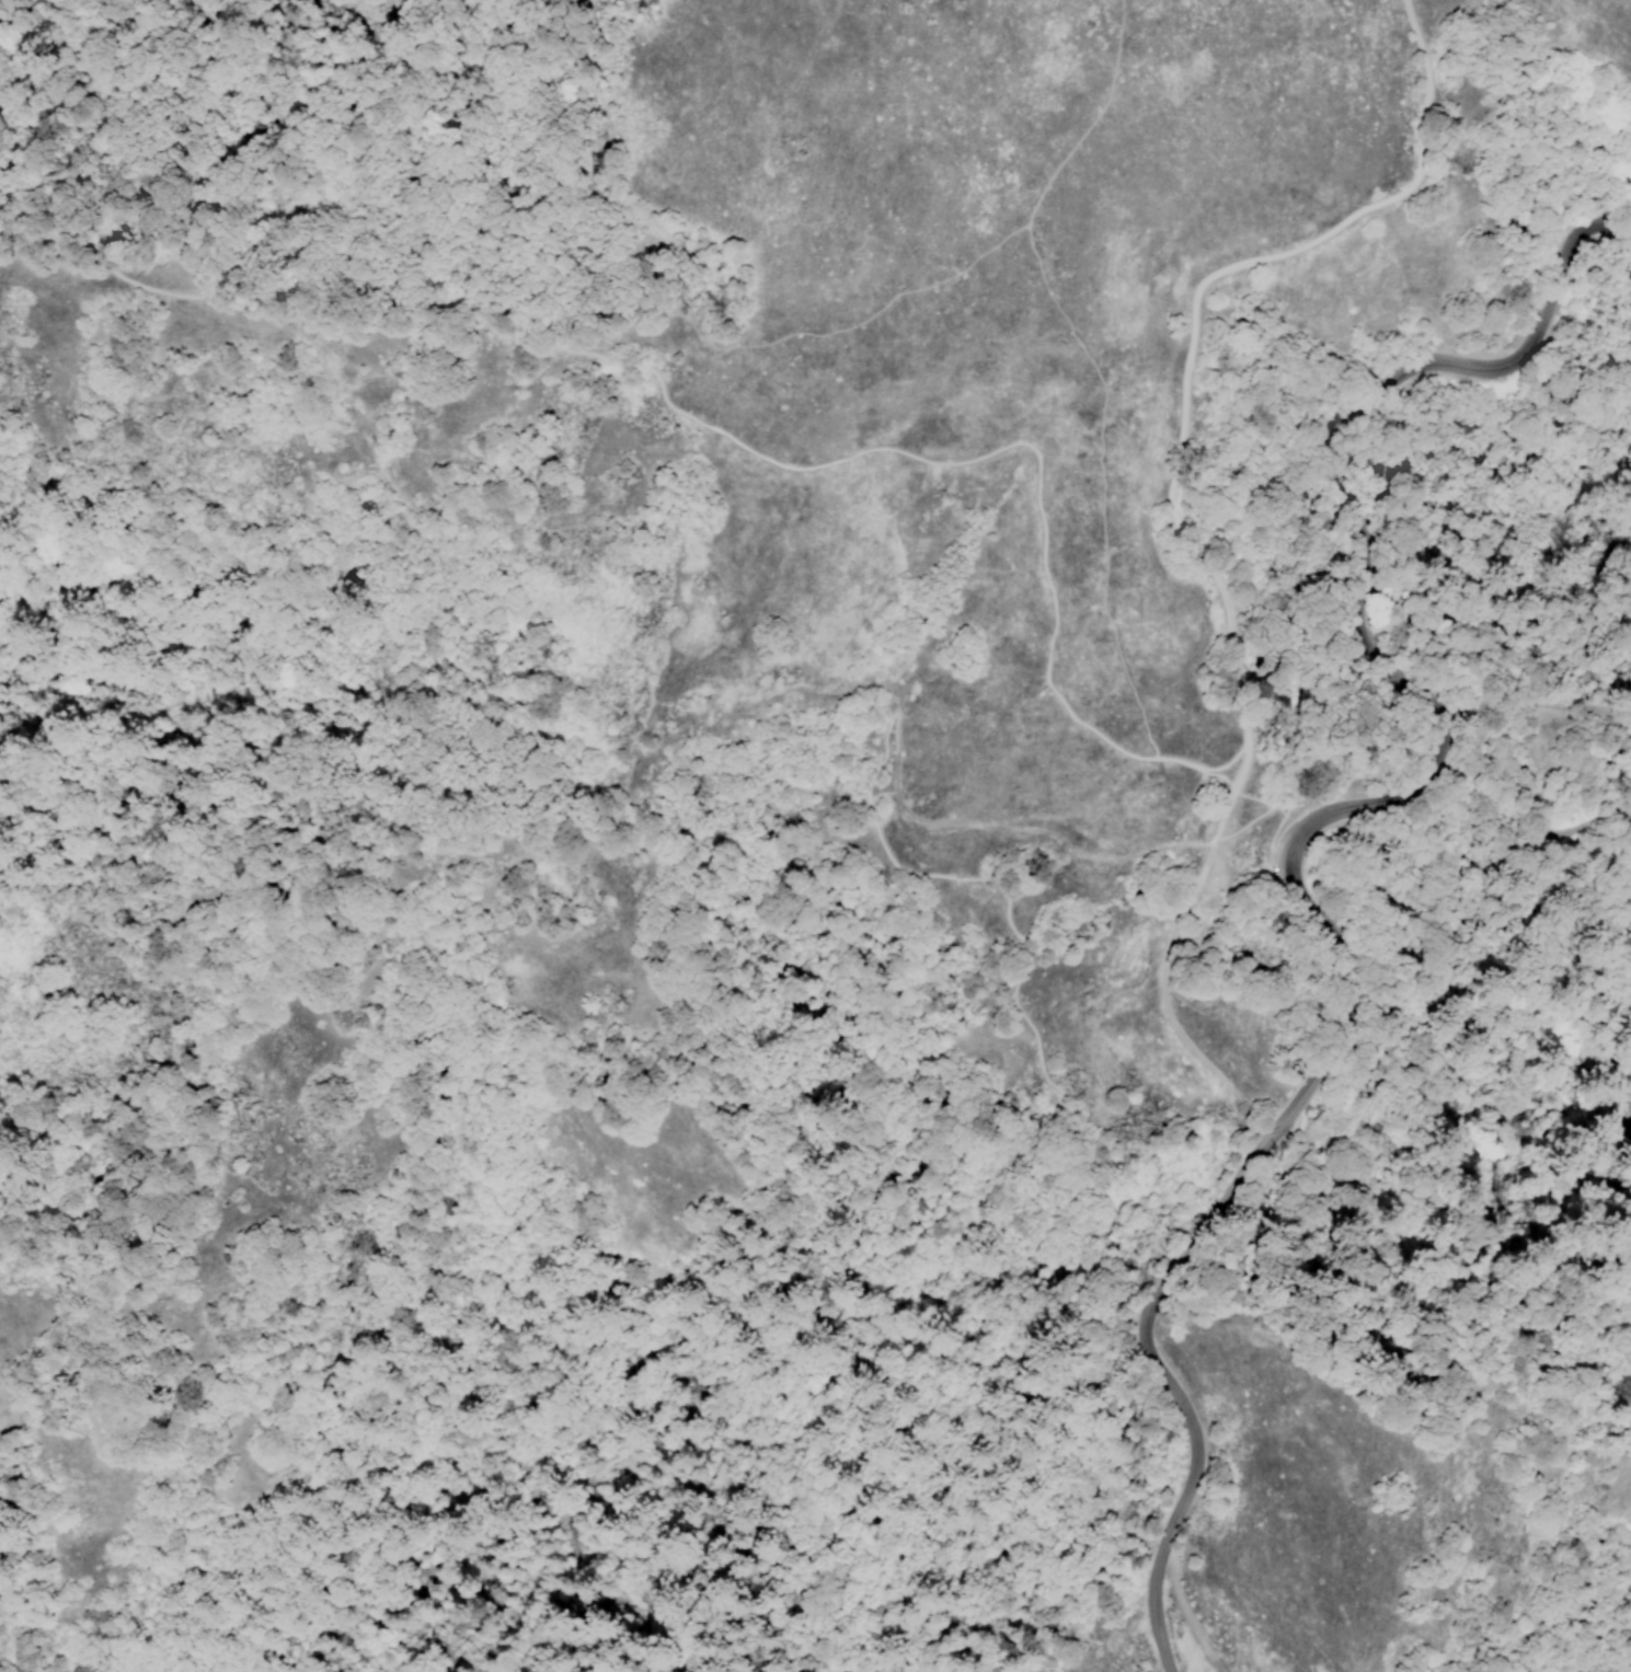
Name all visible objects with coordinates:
road: (560, 174)
road: (1397, 196)
road: (244, 289)
road: (767, 342)
road: (1092, 362)
road: (1339, 427)
road: (975, 457)
road: (1239, 723)
road: (1525, 735)
road: (894, 780)
road: (1283, 816)
parking lot: (1285, 828)
road: (1026, 956)
road: (1068, 1176)
road: (1233, 1189)
road: (1034, 1237)
road: (1025, 1467)
road: (1182, 1608)

